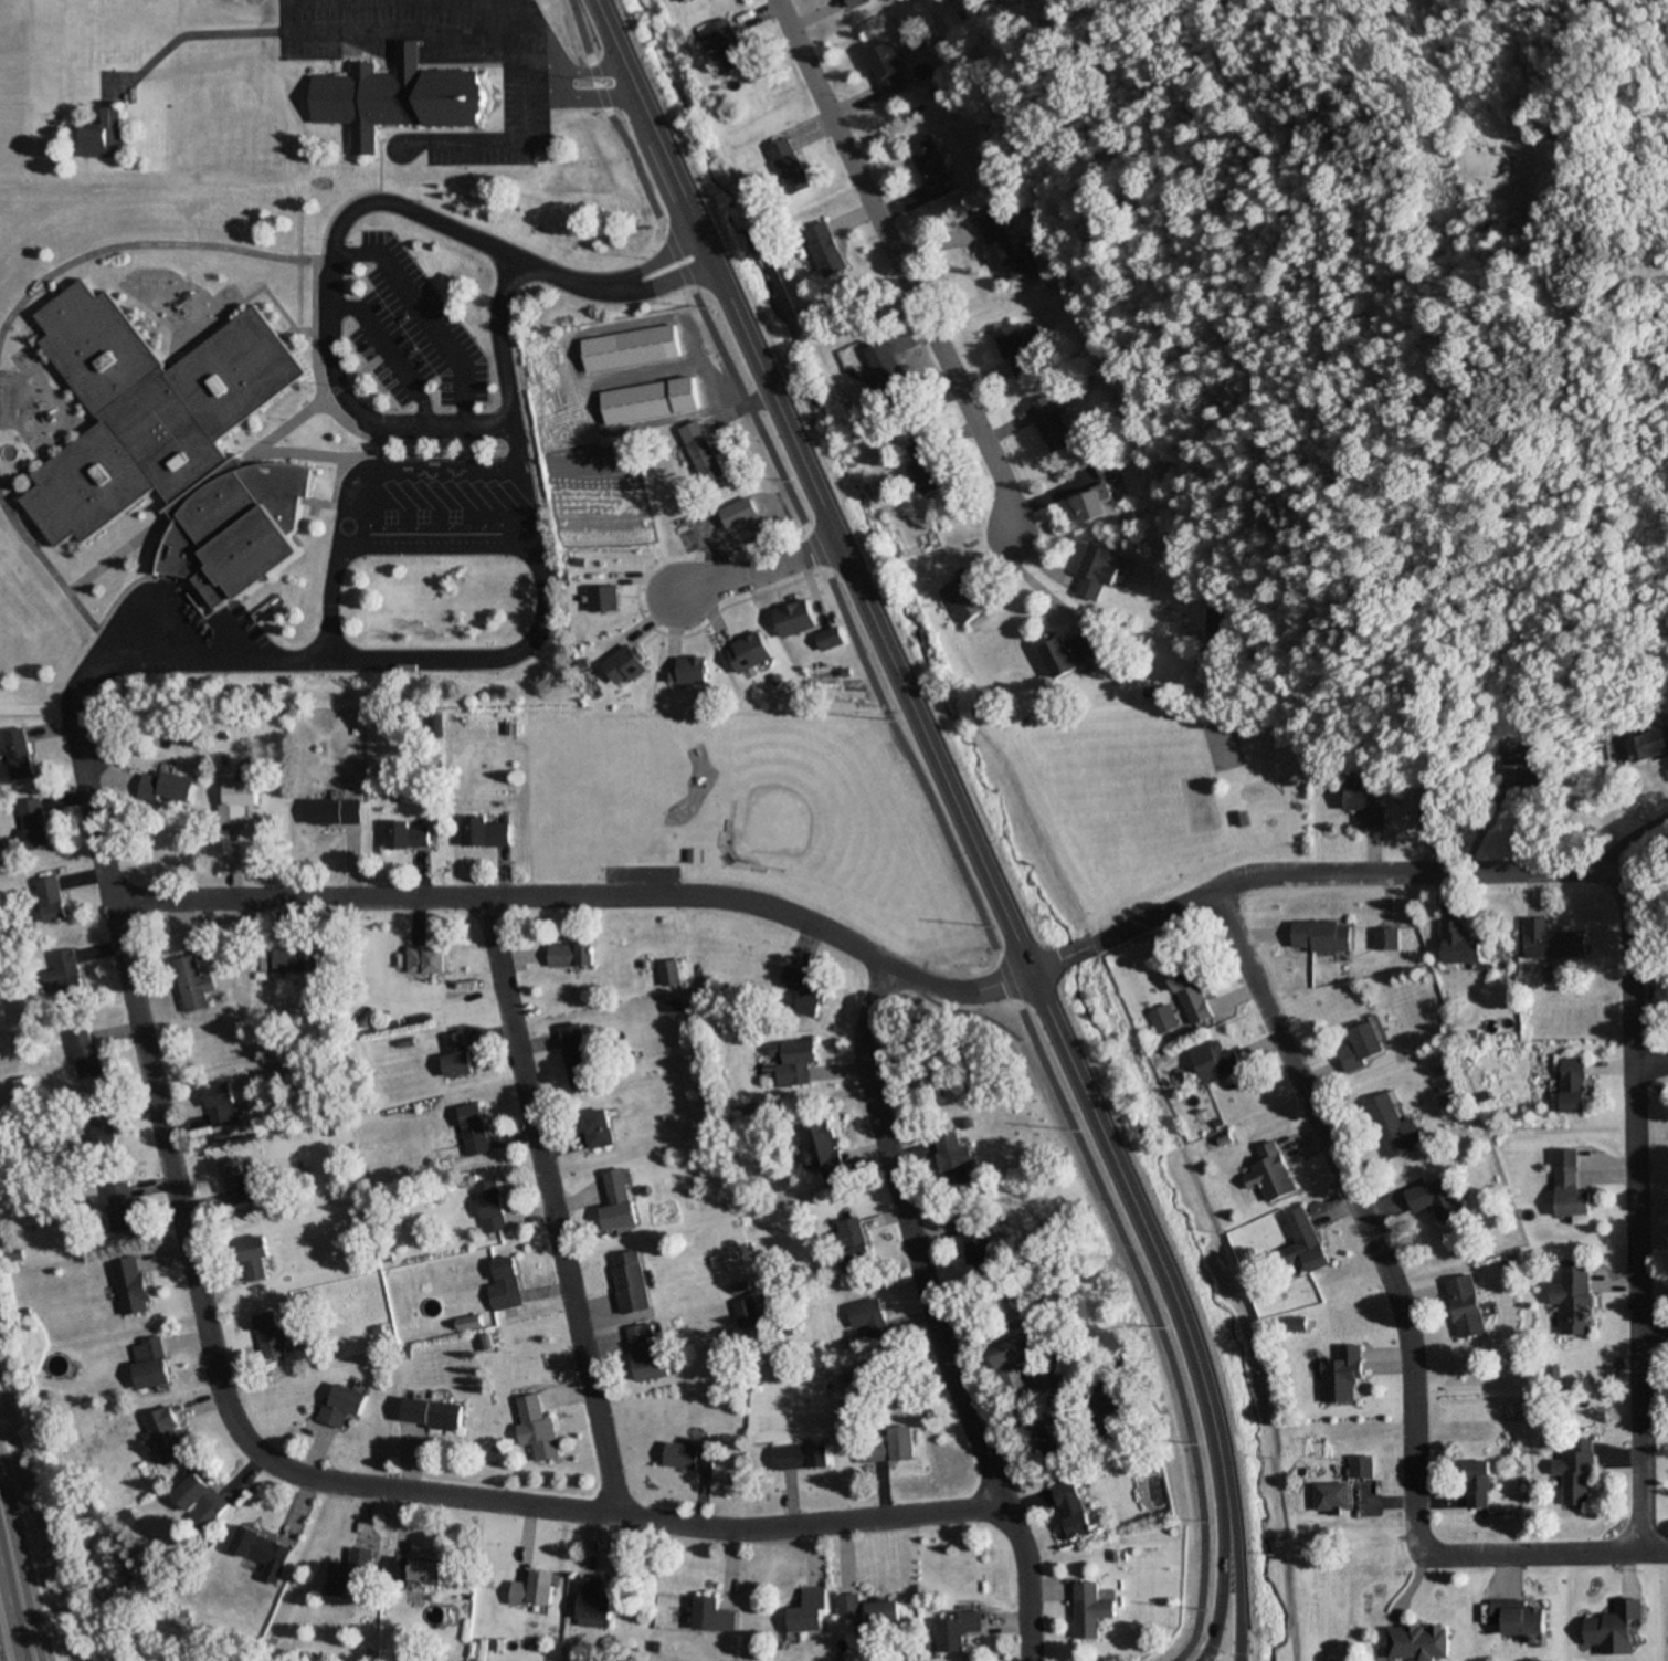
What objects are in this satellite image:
building: (682, 0)
building: (953, 21)
building: (727, 43)
road: (547, 50)
building: (887, 70)
building: (400, 97)
building: (105, 135)
building: (790, 167)
building: (931, 167)
building: (827, 250)
building: (1003, 251)
road: (899, 266)
road: (613, 285)
building: (632, 348)
building: (1016, 351)
building: (883, 367)
building: (652, 400)
road: (513, 418)
building: (1053, 425)
building: (175, 444)
building: (703, 452)
building: (927, 466)
building: (1104, 466)
building: (1096, 505)
building: (740, 513)
road: (761, 569)
building: (1096, 572)
building: (604, 599)
building: (967, 599)
building: (795, 619)
building: (1215, 622)
building: (831, 639)
building: (751, 653)
building: (1074, 653)
building: (625, 666)
building: (693, 671)
building: (1650, 746)
building: (19, 754)
building: (1523, 757)
building: (168, 789)
road: (961, 796)
park: (1140, 796)
building: (237, 800)
building: (1363, 805)
park: (740, 809)
building: (334, 812)
building: (1426, 812)
building: (35, 823)
building: (484, 833)
building: (407, 835)
road: (1636, 848)
road: (587, 896)
building: (51, 901)
road: (1624, 916)
building: (1322, 936)
building: (1385, 939)
building: (1551, 942)
building: (1458, 944)
building: (570, 956)
building: (298, 960)
building: (426, 960)
building: (671, 974)
building: (65, 975)
building: (192, 985)
building: (807, 989)
building: (1193, 992)
building: (1164, 1020)
building: (1363, 1047)
building: (83, 1055)
building: (455, 1055)
building: (577, 1055)
building: (795, 1060)
building: (1216, 1061)
road: (1649, 1063)
building: (1574, 1085)
building: (220, 1106)
building: (1393, 1124)
building: (101, 1129)
building: (598, 1129)
building: (473, 1131)
building: (823, 1150)
building: (954, 1159)
building: (1274, 1174)
building: (240, 1182)
building: (1567, 1189)
building: (1435, 1199)
building: (617, 1202)
road: (550, 1206)
building: (118, 1208)
building: (489, 1208)
road: (181, 1232)
building: (978, 1238)
building: (1306, 1241)
building: (854, 1243)
building: (253, 1259)
building: (630, 1282)
building: (504, 1285)
building: (129, 1286)
building: (1573, 1299)
building: (1466, 1307)
building: (746, 1314)
road: (933, 1314)
building: (868, 1317)
building: (1298, 1325)
road: (1404, 1327)
building: (272, 1335)
building: (645, 1356)
building: (148, 1364)
building: (1018, 1374)
building: (1343, 1377)
building: (1115, 1397)
building: (339, 1406)
building: (431, 1413)
building: (536, 1429)
building: (166, 1438)
building: (1044, 1438)
building: (886, 1446)
building: (688, 1458)
building: (800, 1458)
building: (1363, 1469)
building: (1576, 1473)
building: (1478, 1485)
building: (1334, 1497)
building: (198, 1502)
building: (1073, 1510)
building: (261, 1554)
building: (414, 1571)
building: (349, 1574)
road: (1241, 1586)
building: (534, 1591)
building: (591, 1600)
building: (847, 1605)
road: (11, 1609)
building: (1512, 1609)
road: (15, 1611)
building: (1091, 1611)
building: (809, 1613)
building: (711, 1617)
building: (880, 1618)
building: (1608, 1618)
building: (957, 1632)
building: (1414, 1636)
road: (1234, 1637)
road: (1218, 1640)

